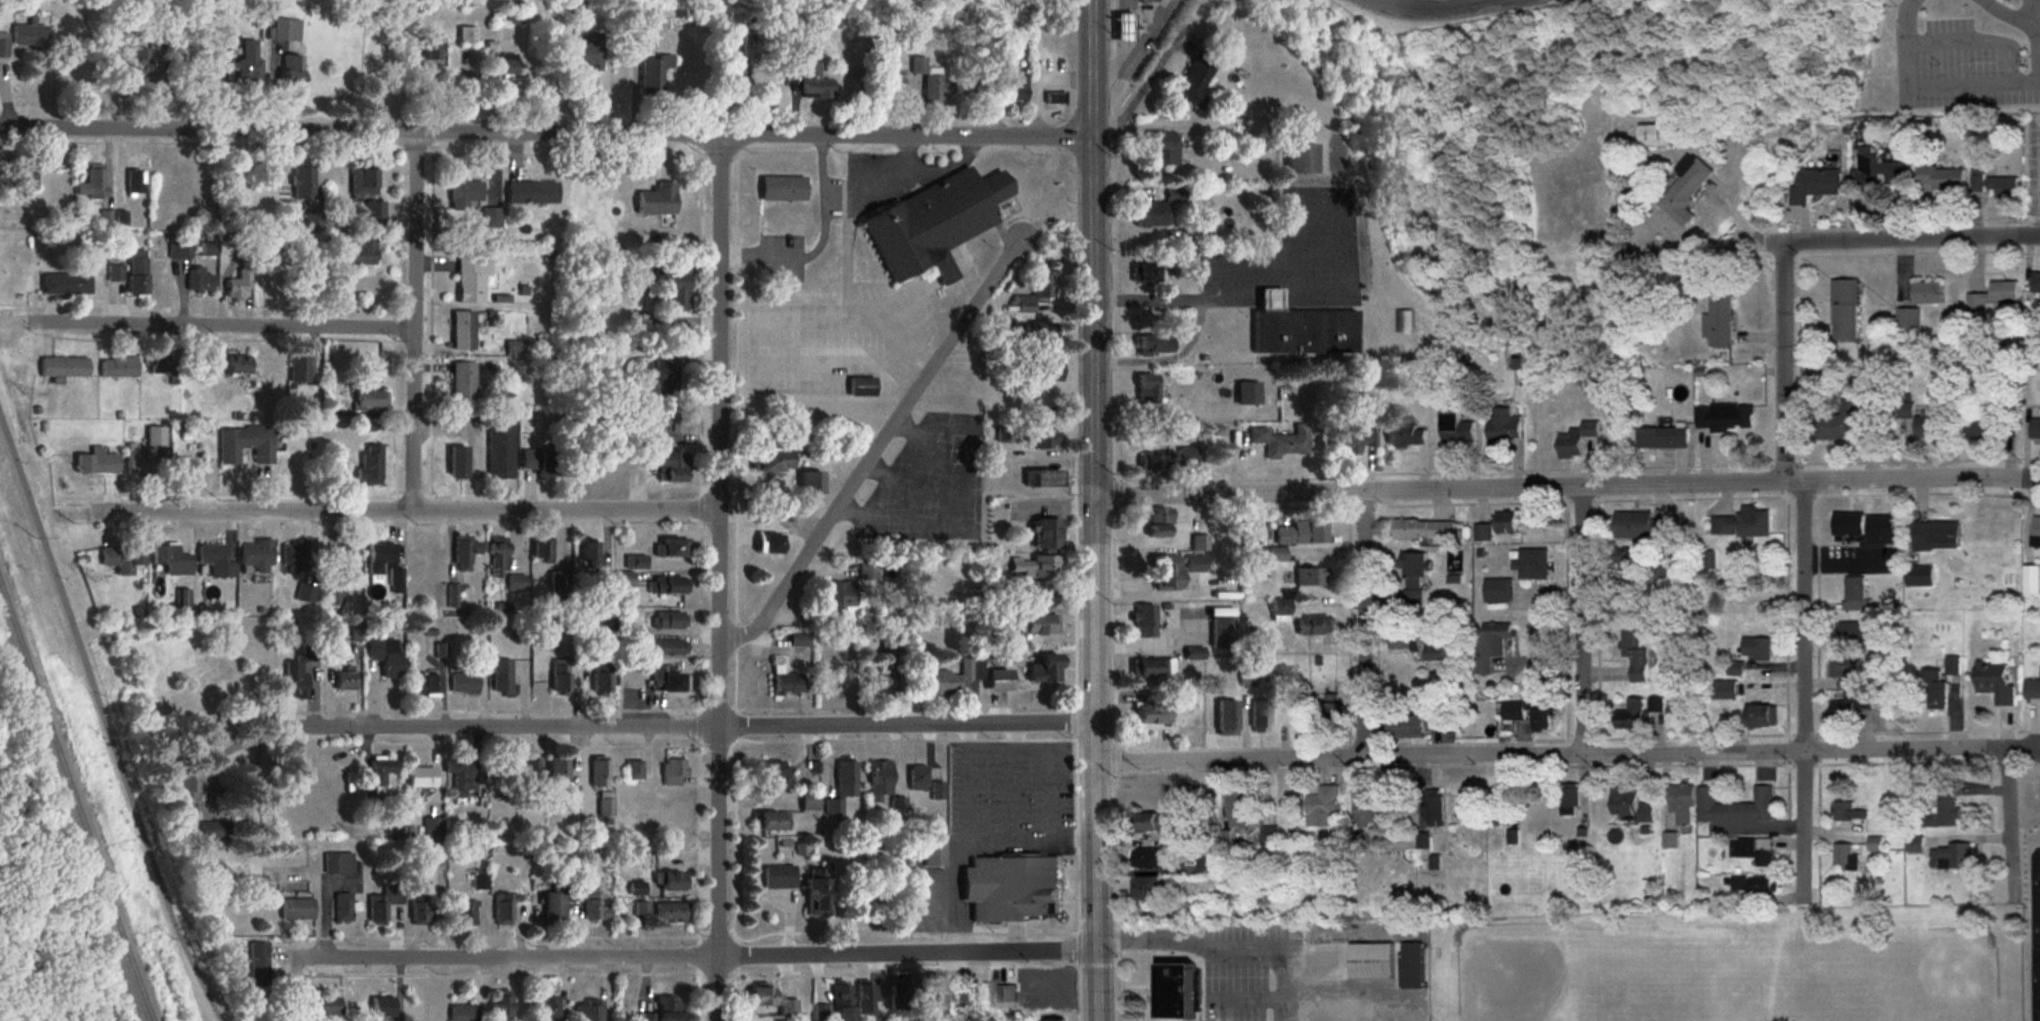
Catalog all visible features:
building: (1147, 0)
road: (1981, 1)
road: (1436, 7)
road: (2030, 15)
building: (506, 17)
building: (1121, 27)
building: (284, 30)
road: (2026, 31)
building: (28, 35)
building: (466, 35)
road: (2038, 38)
road: (1977, 42)
road: (1903, 43)
building: (3, 45)
building: (428, 47)
building: (583, 53)
building: (240, 62)
building: (505, 65)
building: (135, 66)
road: (1094, 67)
building: (290, 71)
building: (651, 75)
building: (809, 75)
building: (1196, 77)
building: (930, 82)
road: (1972, 86)
building: (1014, 88)
building: (1052, 97)
road: (547, 128)
building: (1654, 135)
building: (1162, 149)
building: (1300, 159)
building: (1878, 171)
building: (1976, 177)
building: (1941, 178)
building: (25, 179)
building: (301, 181)
building: (134, 182)
building: (362, 182)
building: (92, 184)
building: (1816, 184)
building: (2002, 187)
building: (1685, 188)
building: (781, 189)
building: (176, 192)
building: (531, 192)
building: (463, 195)
building: (655, 200)
building: (373, 214)
building: (1149, 214)
building: (490, 218)
building: (312, 221)
building: (933, 224)
road: (1746, 226)
road: (1913, 234)
building: (277, 241)
road: (416, 247)
building: (180, 249)
building: (207, 249)
building: (359, 253)
building: (135, 272)
building: (1145, 273)
building: (113, 274)
building: (471, 278)
building: (197, 279)
building: (64, 284)
building: (2035, 284)
building: (238, 285)
building: (672, 289)
building: (1926, 293)
building: (1034, 294)
building: (1992, 296)
road: (1171, 298)
building: (1843, 315)
building: (1907, 320)
building: (1718, 321)
road: (221, 322)
building: (1405, 322)
building: (1299, 329)
building: (462, 331)
building: (1031, 332)
building: (1153, 346)
road: (1170, 356)
road: (1784, 356)
building: (235, 366)
building: (62, 367)
building: (162, 367)
building: (117, 368)
building: (297, 370)
building: (1038, 370)
building: (656, 378)
building: (463, 381)
building: (858, 387)
building: (1146, 390)
building: (1243, 394)
building: (370, 400)
building: (1724, 418)
building: (1845, 419)
building: (1991, 424)
building: (1929, 426)
building: (1501, 427)
building: (664, 428)
building: (1456, 429)
building: (2035, 430)
building: (1405, 435)
building: (1037, 437)
building: (1576, 438)
building: (1662, 438)
building: (1351, 440)
building: (1280, 442)
building: (244, 445)
road: (879, 447)
building: (500, 452)
building: (773, 461)
building: (1166, 461)
building: (139, 463)
building: (457, 463)
building: (538, 463)
building: (95, 464)
building: (369, 465)
building: (670, 467)
building: (187, 469)
building: (1040, 478)
road: (1572, 483)
building: (810, 484)
road: (409, 510)
building: (1158, 522)
building: (1505, 523)
building: (1742, 524)
building: (1639, 526)
building: (1848, 526)
building: (1423, 530)
building: (1882, 531)
building: (2035, 532)
building: (1482, 533)
building: (1300, 534)
building: (1045, 535)
building: (1935, 537)
building: (1199, 544)
building: (767, 545)
building: (673, 549)
building: (544, 550)
building: (464, 552)
building: (255, 555)
building: (590, 556)
building: (346, 557)
building: (379, 558)
building: (121, 559)
building: (294, 559)
building: (170, 560)
building: (1632, 560)
building: (214, 561)
building: (1531, 564)
building: (504, 565)
building: (1034, 566)
building: (1165, 574)
building: (1919, 576)
road: (721, 577)
road: (1100, 577)
building: (1309, 577)
building: (623, 579)
building: (2032, 580)
building: (396, 581)
building: (1413, 584)
building: (666, 586)
building: (559, 587)
building: (1497, 591)
building: (851, 592)
building: (1854, 592)
building: (333, 597)
building: (1279, 611)
road: (1583, 615)
building: (669, 620)
road: (1363, 620)
building: (1144, 622)
building: (1038, 625)
building: (1313, 626)
building: (1855, 632)
building: (1222, 633)
building: (797, 640)
building: (1402, 641)
building: (1491, 646)
building: (666, 647)
building: (889, 648)
building: (1756, 650)
building: (1193, 653)
building: (1434, 654)
building: (1634, 655)
building: (386, 656)
building: (1042, 669)
building: (1153, 669)
building: (1735, 669)
building: (559, 677)
building: (503, 678)
building: (296, 679)
building: (666, 679)
building: (946, 680)
building: (343, 681)
building: (996, 681)
building: (785, 682)
building: (875, 682)
building: (1995, 682)
building: (463, 684)
building: (601, 684)
road: (1805, 685)
building: (426, 686)
building: (1736, 688)
building: (2032, 688)
building: (1934, 689)
building: (1845, 690)
building: (1527, 713)
building: (1151, 714)
building: (1333, 714)
building: (1630, 714)
building: (1259, 717)
building: (1761, 717)
building: (1225, 719)
road: (699, 721)
road: (105, 723)
building: (1417, 725)
road: (2023, 744)
road: (1010, 745)
road: (1550, 749)
building: (634, 770)
building: (558, 772)
building: (377, 773)
building: (673, 773)
building: (773, 773)
building: (528, 774)
building: (598, 774)
building: (421, 778)
building: (914, 778)
building: (500, 779)
building: (843, 779)
building: (877, 780)
building: (459, 781)
building: (1154, 787)
building: (187, 790)
road: (1012, 793)
railway: (74, 798)
building: (573, 798)
building: (1568, 800)
building: (808, 802)
building: (605, 804)
building: (1681, 804)
building: (1235, 807)
building: (1323, 807)
building: (1629, 807)
building: (831, 808)
building: (1498, 808)
building: (1735, 808)
building: (1944, 809)
building: (1366, 810)
building: (1848, 813)
building: (1433, 815)
road: (2011, 818)
building: (770, 822)
building: (1154, 823)
building: (433, 829)
road: (972, 842)
building: (1914, 844)
building: (1752, 851)
building: (932, 853)
building: (1842, 855)
building: (1954, 857)
building: (1148, 859)
building: (337, 863)
building: (1208, 866)
building: (776, 877)
building: (477, 882)
building: (672, 883)
building: (1009, 889)
building: (1150, 890)
building: (813, 898)
building: (382, 904)
building: (595, 906)
building: (342, 908)
building: (506, 909)
building: (553, 909)
building: (295, 910)
building: (420, 910)
building: (465, 914)
building: (670, 914)
road: (1230, 941)
road: (691, 954)
building: (256, 955)
building: (1360, 960)
building: (1411, 966)
road: (2039, 974)
building: (1042, 983)
road: (1361, 985)
building: (1175, 990)
building: (928, 991)
building: (960, 992)
building: (894, 994)
building: (1006, 994)
road: (1245, 995)
building: (863, 998)
building: (770, 1001)
building: (837, 1002)
building: (2034, 1004)
building: (312, 1006)
building: (500, 1006)
building: (544, 1006)
building: (379, 1008)
building: (659, 1010)
building: (586, 1012)
building: (462, 1013)
building: (1339, 1018)
building: (1052, 1020)

